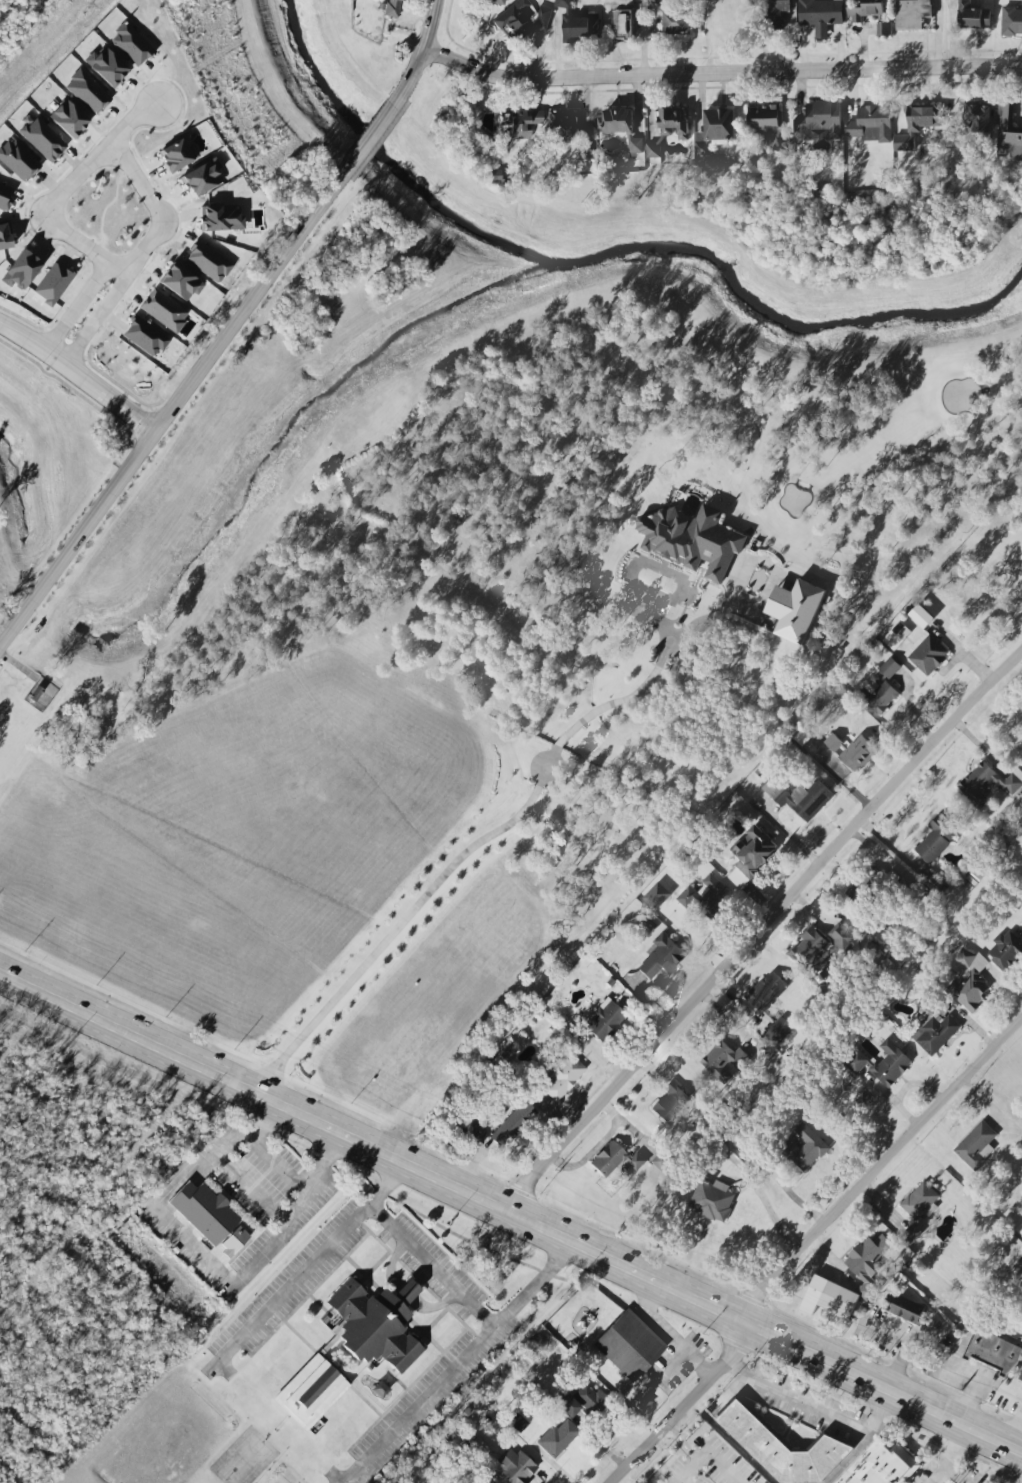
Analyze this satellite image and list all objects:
building: (495, 2)
building: (659, 2)
building: (393, 8)
power tower: (83, 9)
building: (866, 11)
building: (778, 13)
building: (913, 14)
building: (821, 15)
building: (973, 16)
building: (522, 20)
building: (629, 21)
building: (1012, 22)
building: (677, 23)
building: (577, 24)
building: (885, 29)
building: (131, 44)
building: (107, 66)
road: (720, 73)
building: (87, 92)
building: (979, 116)
building: (68, 119)
building: (522, 121)
building: (617, 121)
building: (820, 122)
building: (675, 123)
building: (768, 125)
building: (872, 125)
building: (919, 126)
building: (568, 130)
building: (715, 130)
building: (1008, 130)
building: (42, 139)
building: (636, 146)
building: (653, 147)
building: (177, 155)
road: (97, 158)
building: (18, 160)
building: (202, 178)
road: (139, 183)
building: (5, 196)
building: (220, 218)
road: (309, 225)
building: (5, 236)
road: (82, 247)
road: (146, 248)
river: (616, 250)
building: (208, 262)
building: (21, 270)
building: (180, 282)
building: (53, 284)
road: (76, 308)
building: (163, 310)
road: (98, 318)
building: (144, 337)
road: (80, 375)
building: (693, 540)
road: (78, 542)
building: (796, 610)
building: (922, 617)
building: (897, 636)
building: (927, 654)
building: (881, 689)
building: (42, 694)
building: (852, 751)
building: (987, 784)
building: (802, 798)
road: (486, 834)
building: (938, 839)
building: (752, 855)
building: (863, 887)
building: (705, 895)
building: (657, 896)
road: (760, 928)
building: (840, 936)
building: (812, 950)
building: (1007, 950)
building: (662, 957)
building: (970, 981)
building: (767, 992)
building: (604, 1019)
building: (779, 1031)
building: (935, 1033)
building: (723, 1061)
building: (882, 1064)
building: (562, 1075)
building: (671, 1103)
building: (514, 1123)
building: (977, 1146)
building: (805, 1149)
building: (608, 1159)
building: (662, 1161)
building: (637, 1162)
road: (883, 1173)
road: (183, 1176)
road: (384, 1184)
road: (259, 1191)
building: (712, 1201)
building: (921, 1203)
road: (768, 1210)
building: (203, 1212)
road: (510, 1214)
road: (358, 1220)
building: (1020, 1232)
building: (912, 1234)
building: (233, 1241)
building: (868, 1263)
road: (222, 1275)
building: (829, 1299)
building: (904, 1308)
building: (375, 1324)
road: (666, 1336)
road: (909, 1344)
building: (629, 1346)
building: (993, 1352)
road: (461, 1363)
road: (745, 1375)
road: (974, 1378)
building: (1020, 1381)
road: (1003, 1392)
building: (311, 1393)
building: (587, 1397)
building: (568, 1406)
road: (691, 1406)
road: (834, 1418)
building: (518, 1423)
road: (1015, 1430)
building: (557, 1439)
road: (684, 1447)
building: (783, 1448)
road: (707, 1455)
road: (948, 1456)
building: (882, 1465)
building: (516, 1467)
road: (936, 1475)

